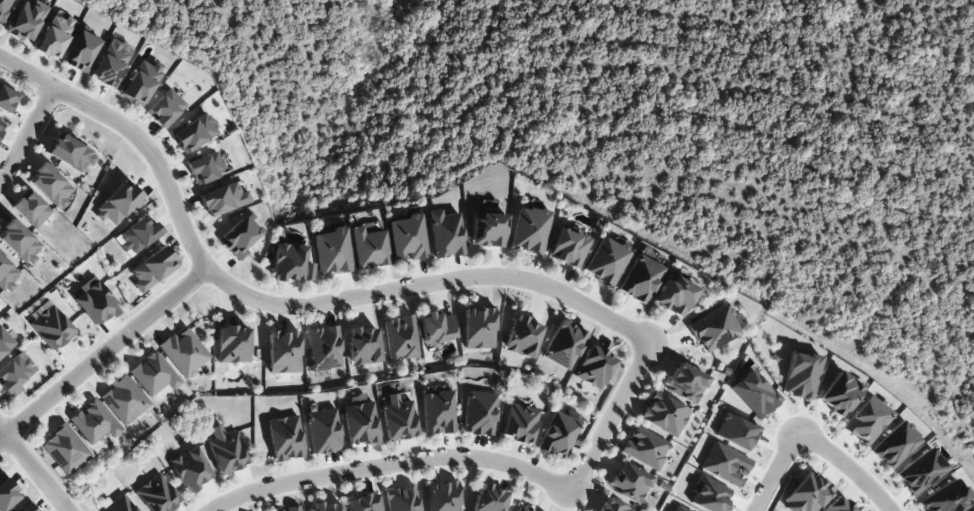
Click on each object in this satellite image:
building: (4, 8)
building: (26, 20)
building: (55, 36)
building: (80, 51)
building: (110, 63)
building: (141, 82)
building: (7, 99)
building: (164, 108)
building: (1, 126)
building: (193, 133)
road: (27, 137)
building: (71, 153)
building: (204, 168)
building: (51, 186)
building: (222, 199)
building: (117, 204)
building: (30, 209)
building: (529, 229)
building: (488, 230)
building: (445, 234)
building: (239, 237)
building: (407, 237)
building: (19, 243)
building: (568, 247)
building: (369, 248)
building: (332, 251)
building: (606, 261)
building: (291, 263)
building: (151, 268)
building: (7, 275)
building: (640, 279)
building: (675, 296)
building: (93, 301)
road: (279, 304)
building: (50, 327)
building: (437, 327)
building: (479, 328)
building: (714, 329)
building: (400, 337)
building: (522, 337)
building: (5, 339)
building: (232, 344)
building: (564, 345)
building: (363, 346)
building: (324, 347)
building: (184, 352)
building: (284, 352)
road: (103, 354)
building: (594, 367)
building: (15, 374)
building: (153, 375)
building: (800, 376)
building: (684, 383)
building: (754, 394)
building: (838, 394)
building: (124, 400)
building: (437, 413)
building: (478, 413)
building: (662, 414)
road: (611, 417)
building: (397, 418)
building: (866, 420)
building: (93, 422)
building: (359, 422)
building: (518, 423)
building: (322, 431)
building: (735, 432)
building: (558, 435)
building: (284, 438)
building: (893, 445)
building: (644, 448)
building: (64, 449)
building: (226, 450)
building: (725, 464)
road: (845, 467)
road: (35, 468)
road: (389, 468)
building: (190, 469)
road: (774, 470)
building: (920, 471)
building: (629, 482)
building: (7, 493)
building: (806, 493)
building: (156, 494)
building: (709, 495)
building: (442, 496)
building: (488, 498)
building: (945, 498)
building: (401, 499)
building: (363, 503)
building: (118, 504)
building: (836, 505)
building: (612, 506)
building: (325, 507)
building: (26, 508)
building: (292, 508)
building: (522, 508)
building: (679, 508)

